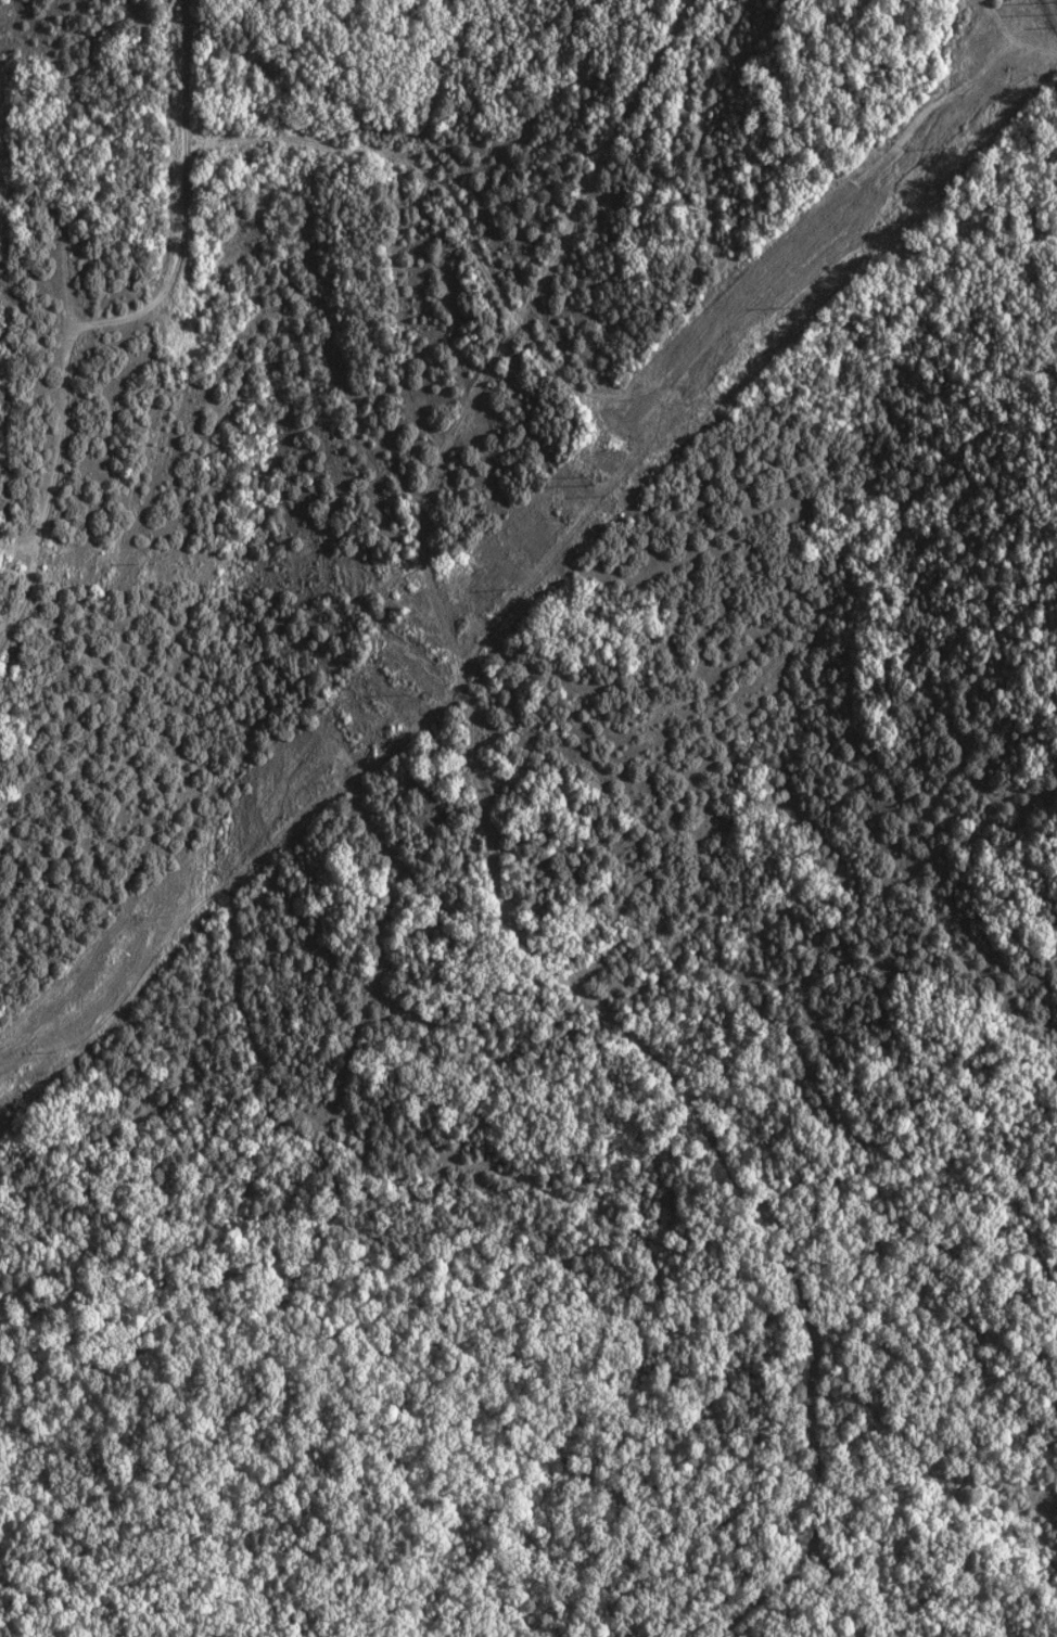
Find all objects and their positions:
road: (138, 143)
power tower: (587, 481)

